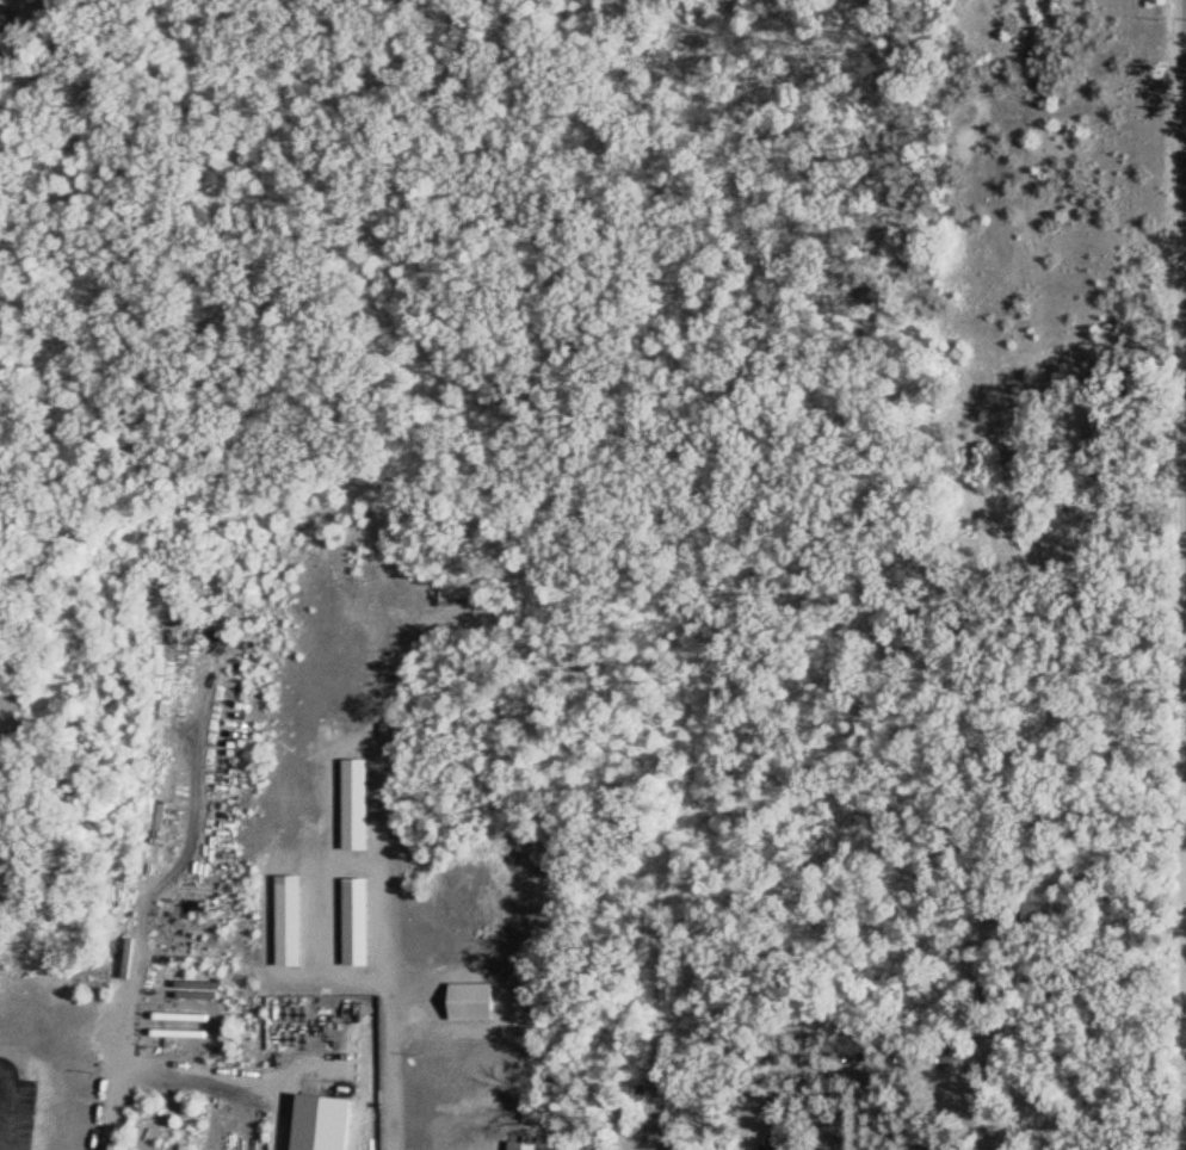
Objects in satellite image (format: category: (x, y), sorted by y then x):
building: (463, 596)
building: (358, 803)
building: (292, 919)
building: (359, 920)
building: (476, 1000)
road: (7, 1105)
parking lot: (24, 1113)
building: (1018, 1114)
building: (526, 1144)

